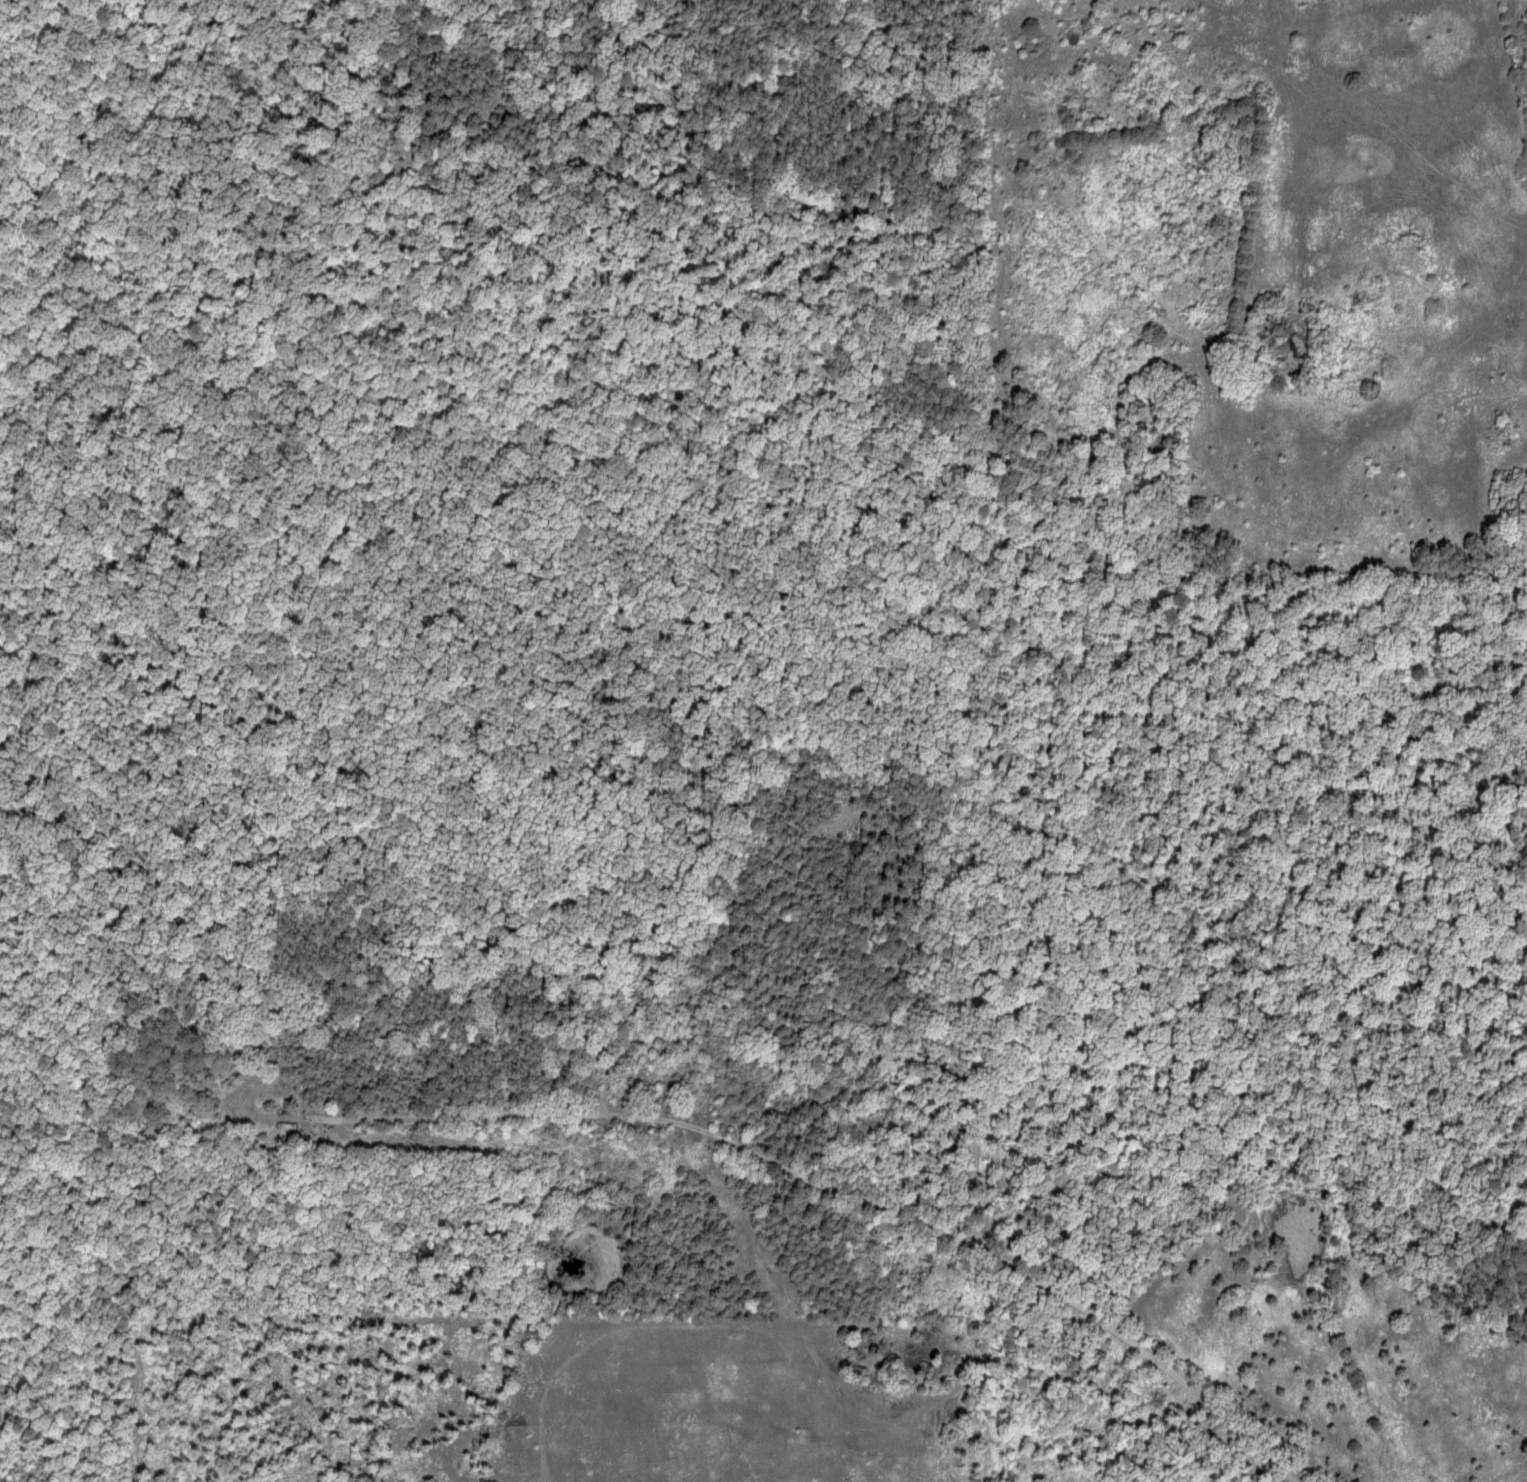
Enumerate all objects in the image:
road: (979, 543)
road: (706, 1087)

